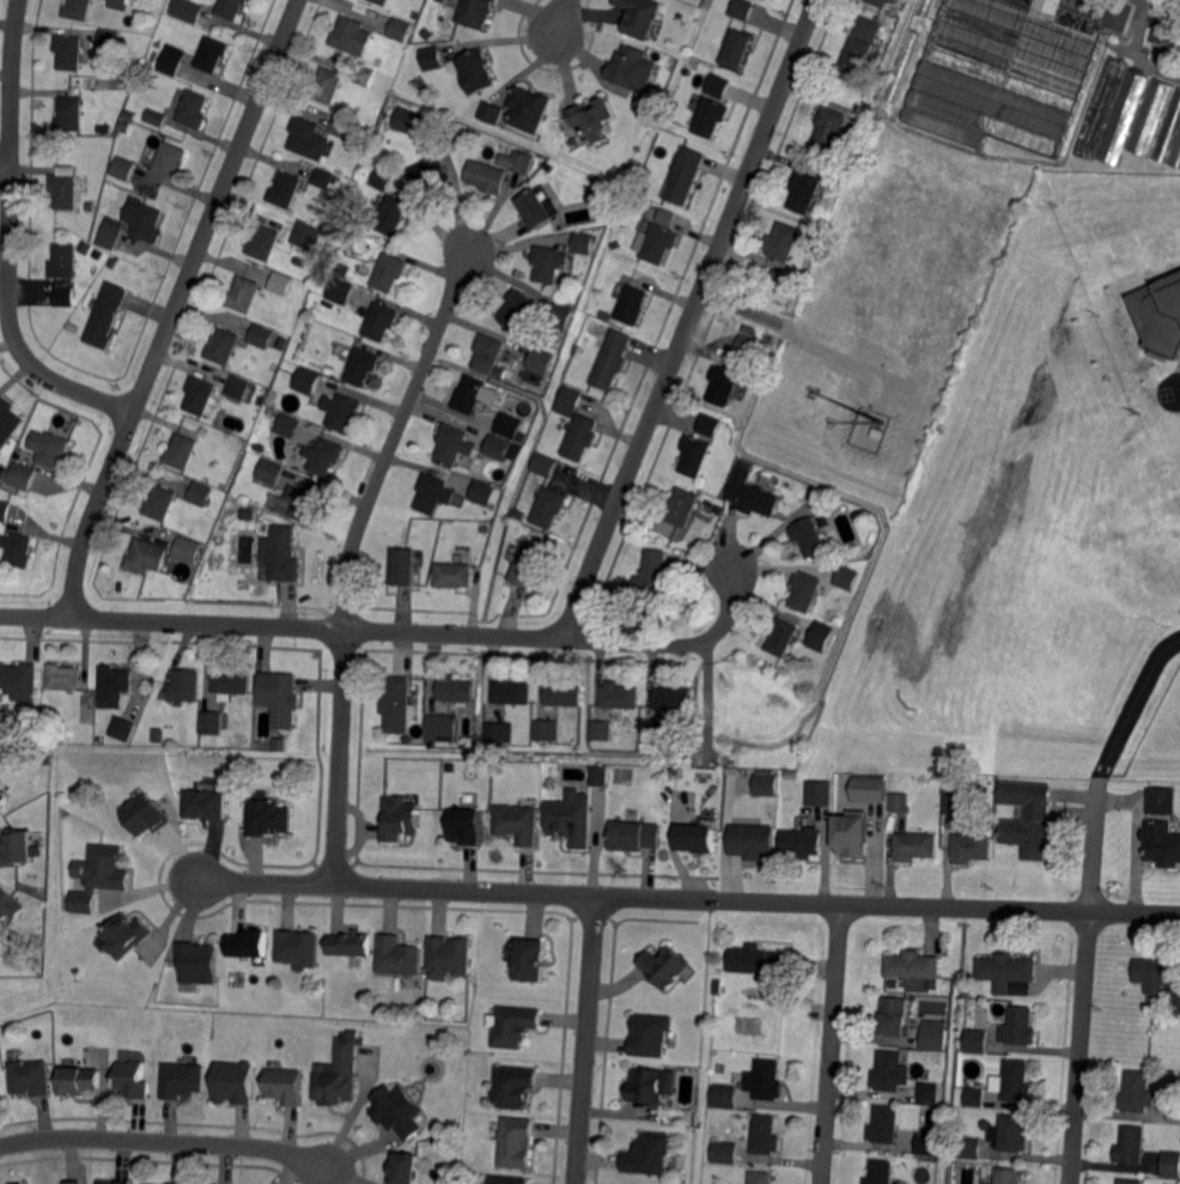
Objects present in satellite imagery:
building: (381, 1)
building: (880, 2)
building: (118, 4)
building: (925, 7)
building: (230, 8)
building: (742, 8)
building: (77, 10)
building: (185, 11)
building: (476, 12)
building: (639, 16)
road: (561, 20)
building: (1168, 23)
building: (399, 28)
building: (868, 28)
building: (351, 36)
building: (110, 38)
building: (735, 48)
building: (69, 51)
building: (211, 54)
building: (431, 56)
building: (854, 56)
building: (1163, 59)
building: (170, 62)
building: (626, 65)
building: (902, 66)
building: (475, 68)
building: (1011, 71)
building: (363, 75)
building: (127, 81)
building: (326, 85)
building: (716, 85)
building: (656, 96)
building: (393, 102)
building: (527, 108)
building: (1100, 108)
building: (193, 109)
building: (493, 111)
building: (69, 114)
building: (710, 116)
building: (1124, 116)
building: (1151, 116)
building: (156, 117)
building: (592, 119)
building: (407, 121)
building: (341, 126)
building: (829, 126)
building: (124, 127)
building: (1169, 130)
building: (309, 138)
building: (1175, 153)
building: (169, 159)
building: (521, 162)
road: (5, 168)
building: (123, 168)
building: (430, 171)
building: (683, 175)
building: (486, 176)
building: (382, 178)
building: (322, 181)
building: (63, 187)
building: (284, 190)
building: (803, 192)
building: (111, 194)
building: (90, 205)
building: (534, 210)
building: (667, 213)
building: (390, 215)
building: (144, 220)
building: (111, 232)
building: (306, 235)
road: (8, 241)
building: (781, 241)
building: (582, 242)
building: (655, 242)
building: (263, 243)
building: (63, 261)
building: (548, 262)
building: (343, 269)
building: (388, 272)
building: (281, 283)
building: (341, 291)
building: (243, 295)
building: (63, 296)
building: (631, 305)
road: (175, 306)
building: (517, 308)
road: (743, 309)
building: (561, 312)
building: (1160, 314)
building: (105, 315)
building: (607, 315)
road: (689, 318)
building: (345, 321)
building: (379, 321)
building: (519, 334)
building: (260, 336)
building: (750, 345)
building: (223, 346)
building: (577, 350)
building: (487, 352)
building: (541, 359)
building: (610, 360)
building: (316, 366)
building: (361, 366)
building: (306, 381)
building: (723, 384)
building: (237, 387)
road: (1179, 391)
building: (469, 394)
building: (199, 395)
building: (570, 400)
building: (341, 411)
building: (247, 419)
building: (7, 421)
building: (708, 424)
building: (287, 425)
building: (509, 425)
building: (869, 429)
building: (521, 436)
building: (580, 437)
building: (454, 443)
building: (257, 445)
building: (516, 445)
building: (498, 447)
building: (19, 448)
building: (51, 449)
building: (180, 451)
building: (694, 455)
building: (326, 456)
building: (543, 465)
building: (269, 472)
building: (20, 474)
building: (483, 492)
building: (200, 493)
building: (433, 493)
building: (753, 493)
building: (305, 500)
building: (159, 503)
building: (549, 506)
building: (681, 506)
building: (719, 508)
building: (4, 510)
building: (245, 512)
building: (485, 527)
building: (523, 532)
building: (809, 536)
building: (676, 539)
building: (871, 539)
building: (187, 547)
building: (17, 550)
road: (351, 553)
building: (280, 554)
building: (145, 557)
building: (405, 566)
building: (528, 567)
building: (454, 575)
building: (846, 576)
building: (653, 579)
building: (804, 590)
road: (395, 631)
building: (781, 636)
building: (825, 636)
building: (62, 676)
building: (19, 681)
building: (231, 681)
building: (114, 686)
building: (185, 686)
building: (456, 690)
building: (512, 691)
building: (564, 694)
building: (620, 694)
building: (280, 698)
building: (673, 698)
building: (399, 704)
road: (1132, 704)
building: (212, 723)
building: (439, 725)
building: (122, 729)
building: (547, 729)
building: (16, 730)
building: (494, 730)
building: (602, 730)
building: (157, 733)
building: (677, 771)
building: (598, 773)
building: (765, 783)
building: (868, 788)
building: (819, 791)
building: (2, 797)
building: (1160, 801)
building: (899, 802)
building: (953, 803)
building: (206, 804)
building: (145, 815)
building: (267, 816)
building: (573, 818)
building: (1027, 818)
building: (400, 819)
building: (519, 824)
building: (467, 826)
building: (851, 832)
building: (637, 834)
building: (700, 838)
building: (752, 839)
building: (802, 842)
building: (1162, 843)
building: (916, 845)
building: (16, 848)
building: (971, 848)
building: (101, 876)
road: (682, 899)
building: (8, 905)
building: (126, 936)
building: (351, 945)
building: (250, 946)
building: (298, 948)
building: (449, 957)
building: (399, 958)
building: (758, 960)
building: (530, 961)
building: (197, 964)
building: (914, 966)
building: (663, 967)
building: (1005, 970)
building: (1155, 972)
road: (1084, 983)
building: (910, 988)
building: (730, 991)
building: (1176, 1003)
building: (894, 1016)
building: (1018, 1026)
building: (515, 1027)
building: (933, 1034)
building: (651, 1036)
road: (589, 1040)
building: (975, 1040)
road: (832, 1044)
building: (337, 1073)
building: (889, 1073)
building: (29, 1076)
building: (132, 1077)
building: (79, 1079)
building: (181, 1079)
building: (765, 1080)
building: (1016, 1081)
building: (235, 1082)
building: (285, 1086)
building: (650, 1087)
building: (516, 1088)
building: (0, 1092)
building: (929, 1092)
building: (1137, 1092)
building: (724, 1095)
building: (974, 1097)
building: (394, 1111)
building: (1174, 1112)
building: (884, 1124)
building: (1012, 1134)
building: (765, 1135)
road: (171, 1142)
building: (927, 1143)
building: (516, 1144)
building: (1131, 1146)
building: (971, 1147)
building: (724, 1150)
building: (649, 1156)
building: (1170, 1164)
building: (406, 1167)
building: (880, 1172)
building: (1008, 1176)
building: (760, 1177)
building: (507, 1180)
building: (1130, 1180)
building: (72, 1182)
building: (112, 1182)
building: (989, 1183)

